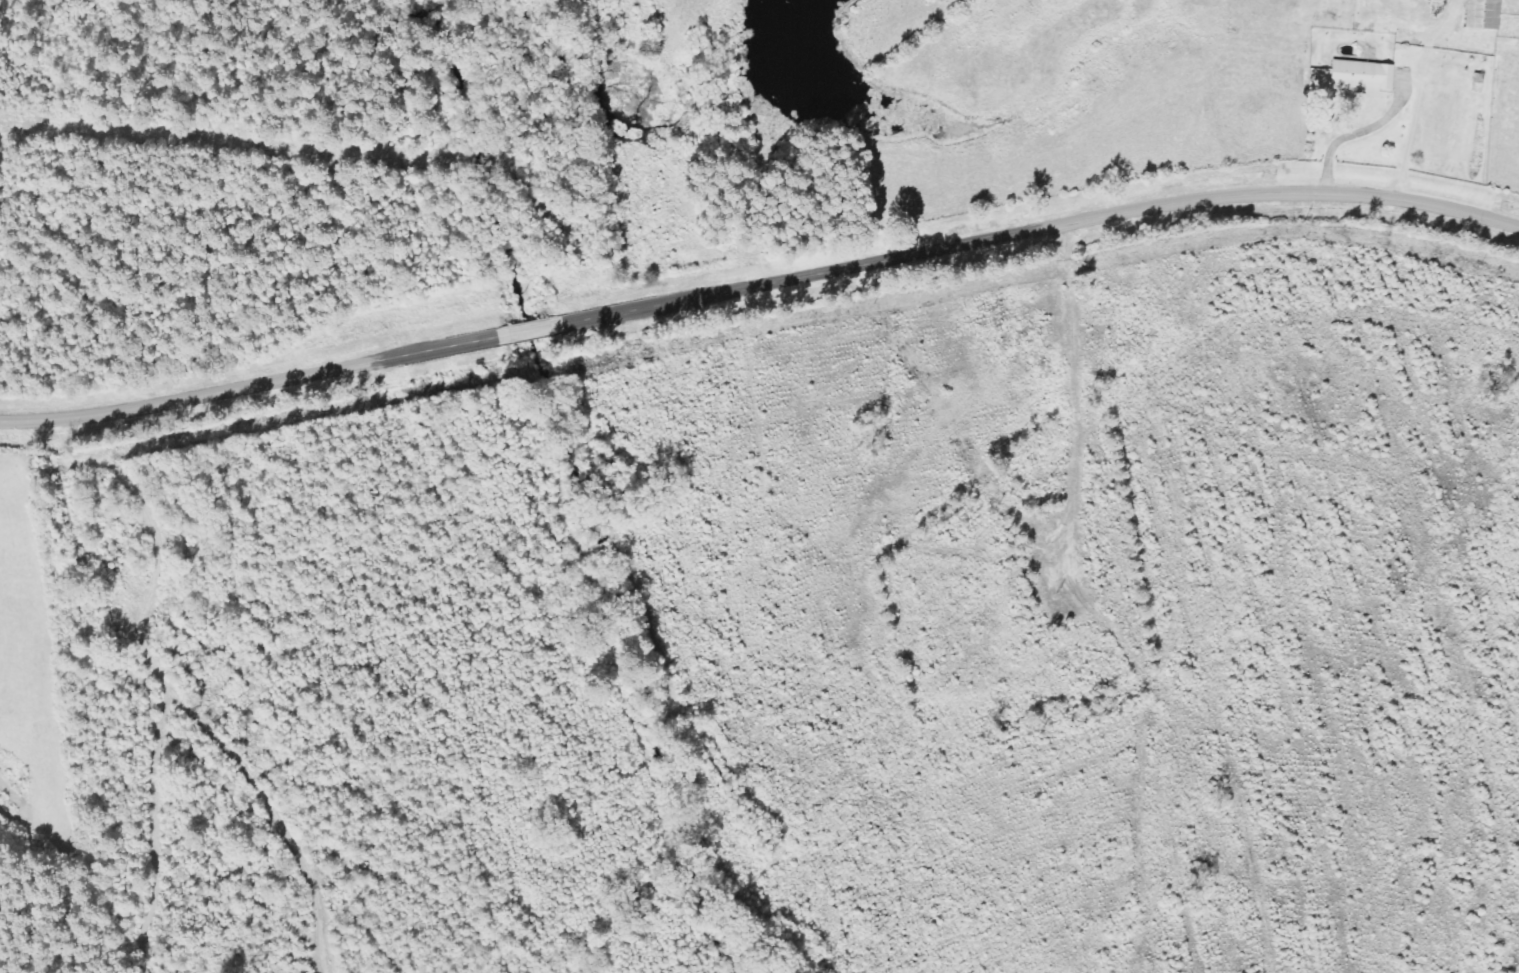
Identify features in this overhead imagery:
building: (1487, 14)
building: (1365, 77)
road: (1038, 228)
road: (530, 329)
road: (250, 387)

